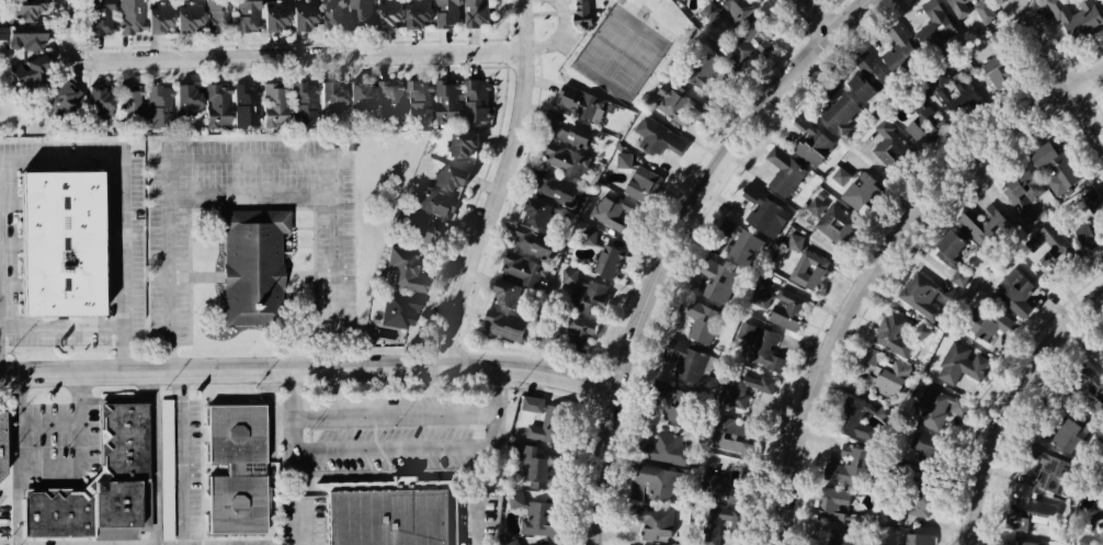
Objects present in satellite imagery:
road: (579, 4)
road: (593, 4)
building: (967, 5)
road: (502, 8)
building: (20, 10)
road: (578, 10)
road: (559, 11)
building: (985, 11)
building: (417, 12)
building: (445, 12)
building: (580, 12)
building: (388, 13)
building: (475, 13)
road: (541, 13)
building: (243, 14)
building: (331, 14)
building: (360, 14)
road: (521, 14)
road: (822, 14)
building: (127, 15)
building: (214, 15)
road: (508, 15)
building: (734, 15)
building: (155, 16)
building: (184, 16)
building: (271, 16)
building: (300, 16)
building: (1078, 16)
building: (99, 18)
road: (591, 19)
park: (539, 20)
building: (932, 21)
road: (504, 27)
road: (590, 31)
road: (556, 34)
building: (20, 35)
road: (518, 37)
parking lot: (566, 41)
road: (533, 45)
building: (751, 46)
park: (616, 48)
building: (901, 48)
road: (276, 52)
park: (619, 52)
road: (504, 53)
road: (516, 63)
road: (538, 64)
building: (990, 66)
road: (1064, 67)
building: (27, 68)
building: (862, 70)
building: (705, 71)
road: (1089, 79)
building: (953, 90)
building: (57, 94)
building: (445, 94)
building: (328, 95)
building: (356, 96)
building: (416, 99)
building: (476, 99)
building: (182, 100)
building: (387, 100)
building: (94, 101)
building: (300, 102)
building: (576, 103)
building: (126, 104)
building: (155, 104)
building: (242, 104)
building: (270, 104)
building: (214, 105)
building: (676, 105)
building: (957, 106)
building: (837, 107)
building: (926, 127)
building: (572, 130)
building: (807, 136)
building: (653, 137)
building: (459, 145)
building: (908, 145)
building: (890, 146)
building: (564, 159)
building: (624, 160)
building: (1056, 164)
road: (252, 166)
building: (784, 166)
building: (841, 177)
building: (450, 178)
building: (647, 182)
road: (498, 183)
building: (869, 184)
building: (554, 188)
building: (432, 201)
building: (1022, 201)
building: (1092, 202)
road: (128, 203)
building: (609, 205)
building: (542, 213)
building: (833, 216)
building: (968, 223)
building: (755, 224)
building: (419, 226)
building: (589, 237)
building: (1087, 237)
building: (46, 240)
building: (531, 240)
building: (1045, 241)
road: (674, 242)
building: (796, 242)
building: (948, 250)
building: (607, 263)
building: (248, 264)
building: (406, 265)
building: (806, 265)
building: (521, 269)
building: (570, 275)
road: (873, 279)
building: (709, 280)
building: (957, 280)
building: (916, 292)
building: (1013, 292)
building: (508, 293)
building: (763, 298)
building: (587, 303)
building: (396, 308)
building: (783, 313)
building: (700, 316)
building: (503, 322)
building: (989, 323)
road: (65, 326)
building: (919, 330)
building: (581, 331)
building: (892, 334)
building: (549, 336)
road: (1, 347)
building: (766, 350)
building: (683, 355)
building: (871, 361)
building: (960, 363)
road: (228, 370)
road: (539, 371)
building: (1085, 374)
building: (747, 391)
building: (676, 402)
building: (531, 404)
building: (935, 407)
road: (1013, 409)
road: (291, 410)
road: (501, 410)
road: (396, 416)
building: (550, 417)
building: (845, 419)
road: (50, 421)
building: (1060, 429)
building: (725, 433)
building: (661, 440)
building: (1, 444)
road: (386, 450)
road: (153, 457)
road: (181, 457)
building: (542, 462)
road: (48, 466)
building: (162, 467)
building: (1047, 468)
building: (236, 469)
building: (835, 472)
building: (716, 476)
building: (651, 481)
building: (99, 482)
building: (931, 504)
road: (19, 506)
building: (830, 506)
building: (536, 510)
building: (1024, 513)
building: (890, 515)
building: (387, 519)
road: (478, 523)
building: (649, 526)
building: (713, 526)
road: (304, 527)
building: (1093, 530)
building: (924, 537)
building: (1023, 538)
building: (543, 541)
building: (835, 542)
road: (130, 544)
building: (515, 544)
building: (901, 544)

